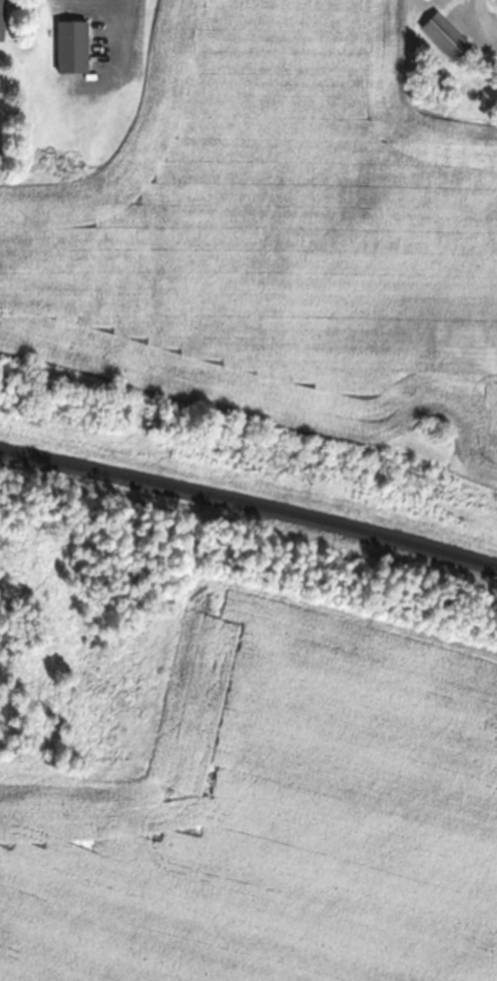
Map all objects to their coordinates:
building: (2, 20)
building: (445, 37)
building: (72, 48)
railway: (249, 503)
road: (256, 820)

